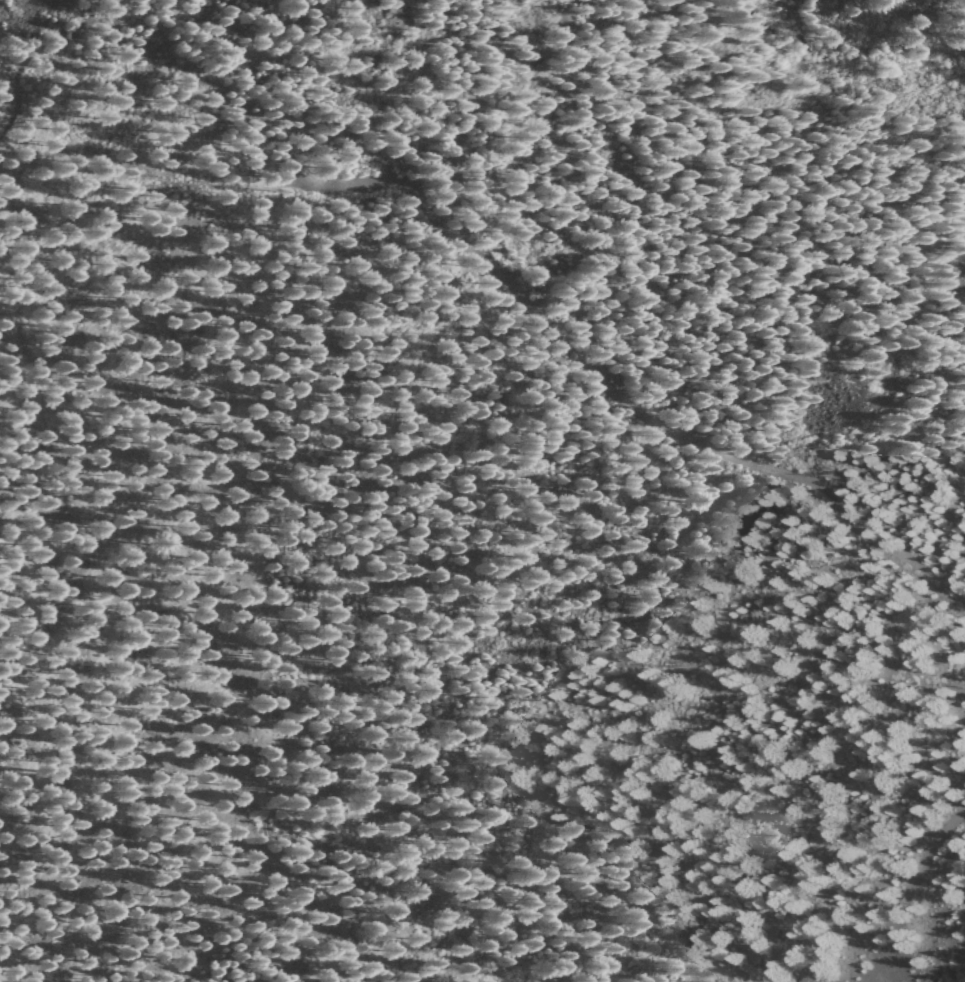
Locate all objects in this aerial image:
road: (922, 19)
road: (13, 94)
road: (512, 296)

